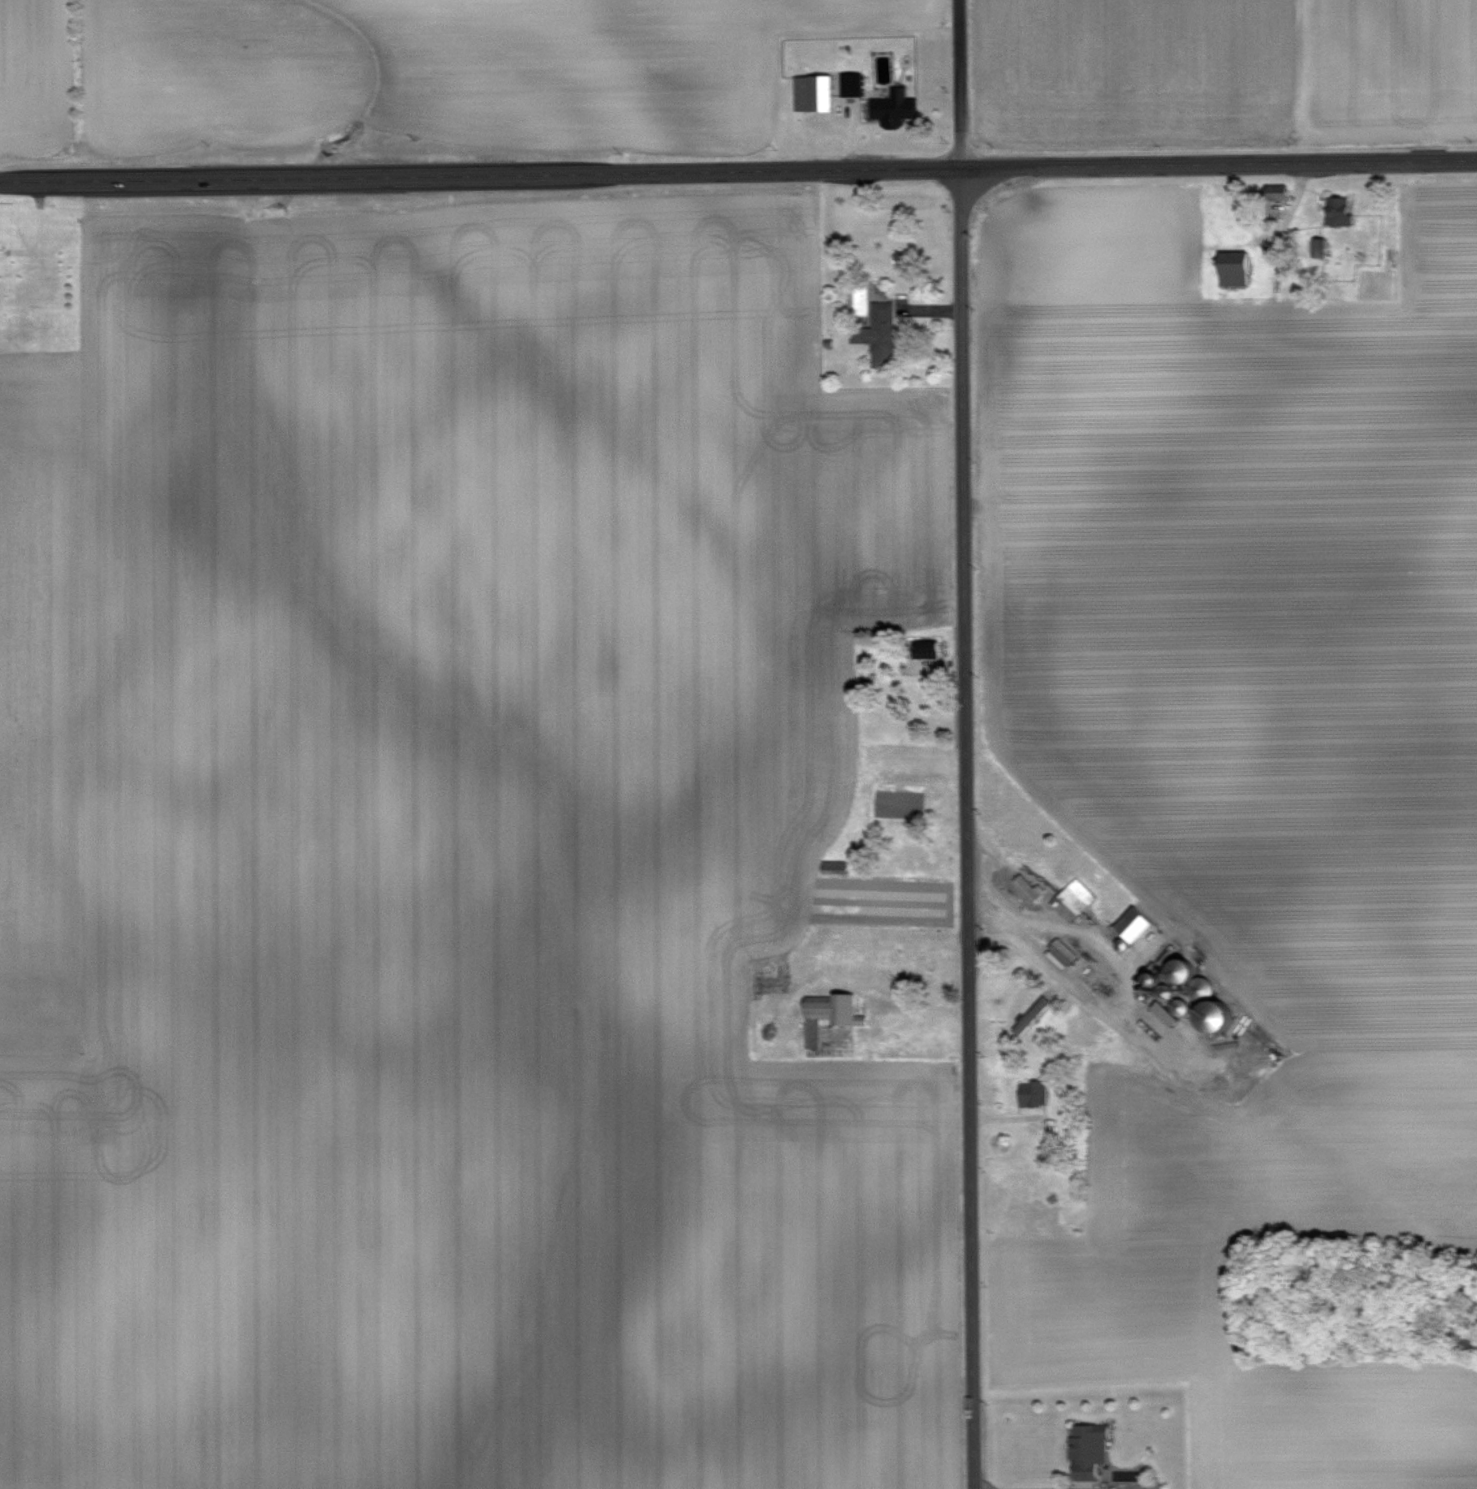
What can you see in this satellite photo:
building: (850, 85)
building: (812, 94)
building: (894, 107)
road: (738, 170)
building: (1275, 192)
building: (1338, 211)
building: (1232, 267)
building: (875, 325)
road: (966, 744)
building: (834, 867)
building: (1029, 886)
building: (1073, 901)
building: (1131, 925)
building: (1063, 952)
building: (1180, 971)
building: (827, 1016)
building: (1212, 1016)
building: (1032, 1093)
building: (1073, 1153)
building: (1087, 1450)

